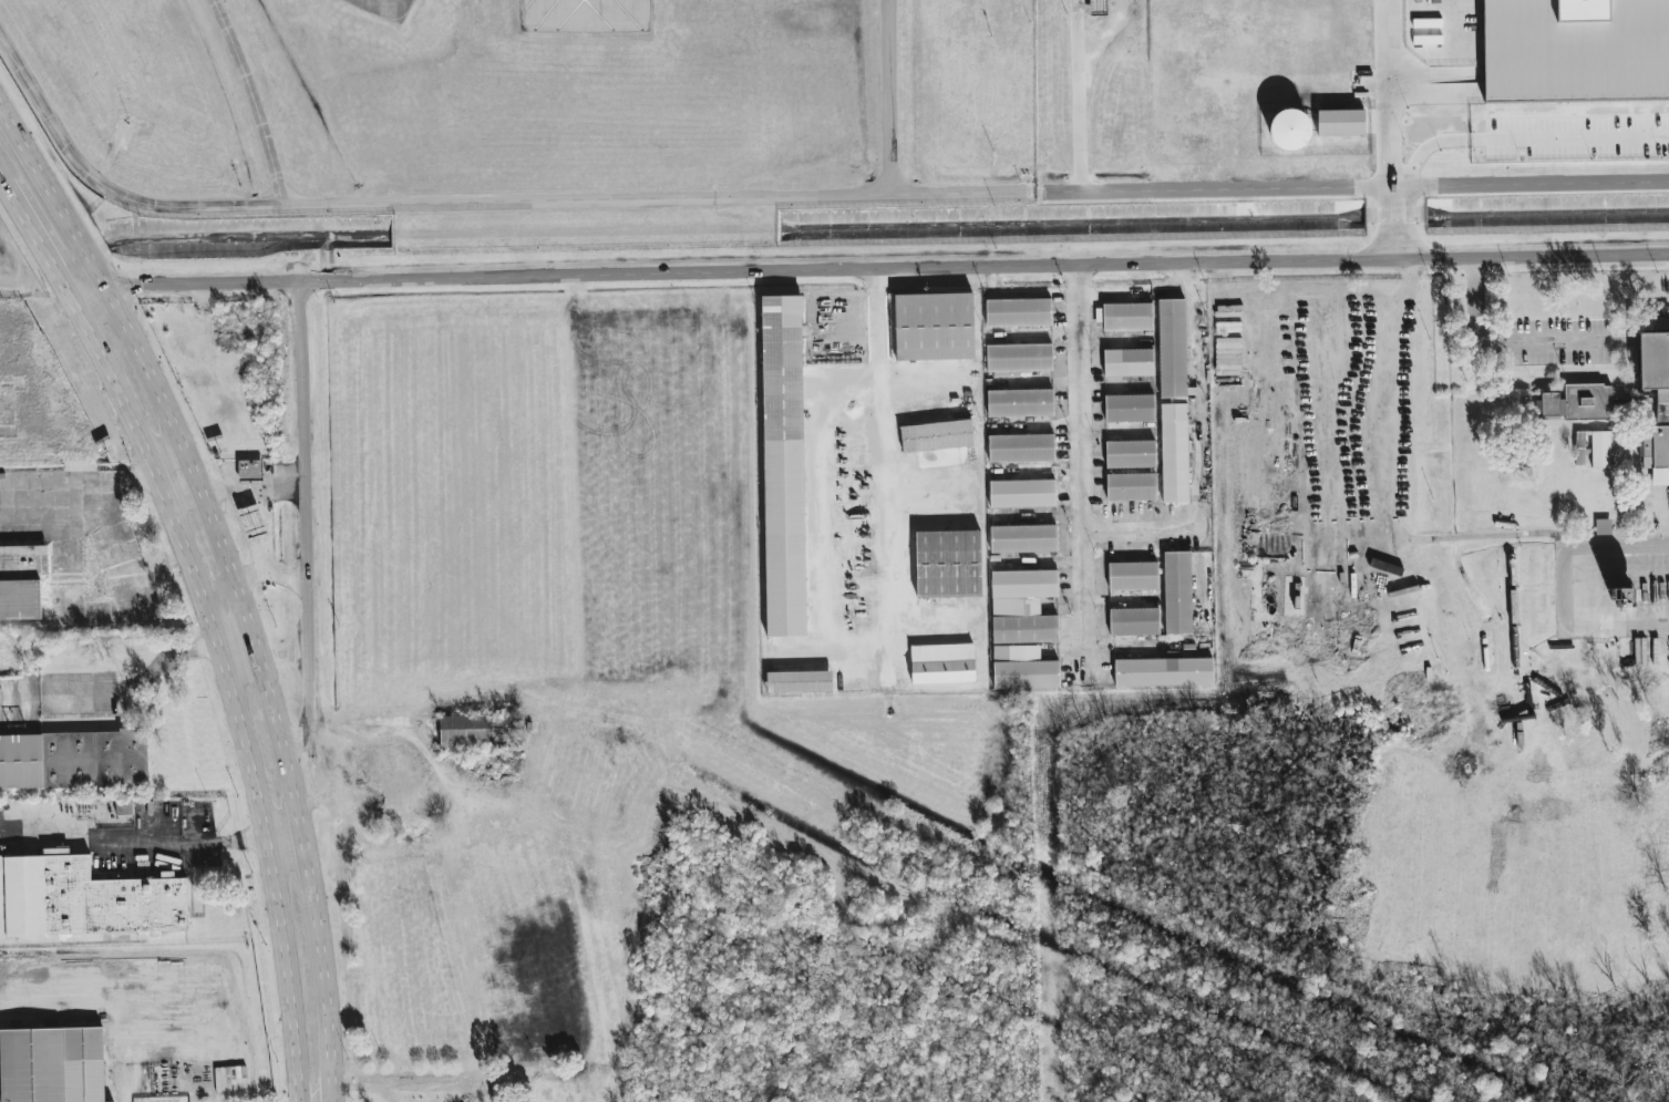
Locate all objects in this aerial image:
building: (1098, 7)
road: (1104, 42)
building: (1575, 49)
road: (1394, 92)
road: (1078, 95)
road: (888, 96)
road: (259, 99)
building: (1340, 122)
airport: (816, 127)
building: (1288, 128)
road: (1522, 138)
road: (6, 171)
road: (1532, 183)
road: (104, 185)
road: (1214, 187)
road: (962, 193)
road: (587, 198)
road: (1395, 220)
road: (44, 237)
road: (983, 262)
road: (188, 280)
building: (1018, 312)
building: (1123, 317)
building: (934, 327)
road: (1534, 347)
building: (1172, 348)
building: (1018, 358)
building: (1129, 362)
road: (918, 392)
building: (1655, 398)
building: (1020, 402)
building: (1577, 402)
building: (1129, 408)
building: (936, 435)
building: (1021, 447)
building: (1579, 449)
building: (1600, 449)
building: (1174, 453)
building: (1130, 454)
road: (898, 465)
building: (783, 466)
road: (1088, 467)
building: (250, 468)
road: (182, 474)
road: (902, 477)
road: (24, 484)
road: (1384, 485)
building: (1131, 486)
road: (258, 487)
building: (1022, 493)
road: (842, 497)
road: (307, 518)
building: (251, 521)
building: (1603, 526)
road: (1140, 533)
building: (1022, 538)
road: (250, 553)
building: (948, 562)
road: (239, 573)
road: (249, 573)
building: (1133, 575)
building: (21, 583)
road: (75, 583)
road: (1562, 587)
road: (873, 591)
building: (1177, 593)
building: (1022, 606)
building: (1134, 621)
road: (248, 658)
building: (941, 663)
building: (1022, 668)
building: (1163, 672)
building: (799, 682)
road: (236, 684)
building: (73, 760)
building: (124, 809)
road: (286, 834)
road: (140, 840)
building: (84, 899)
building: (52, 1064)
road: (399, 1079)
road: (315, 1089)
building: (112, 1101)

